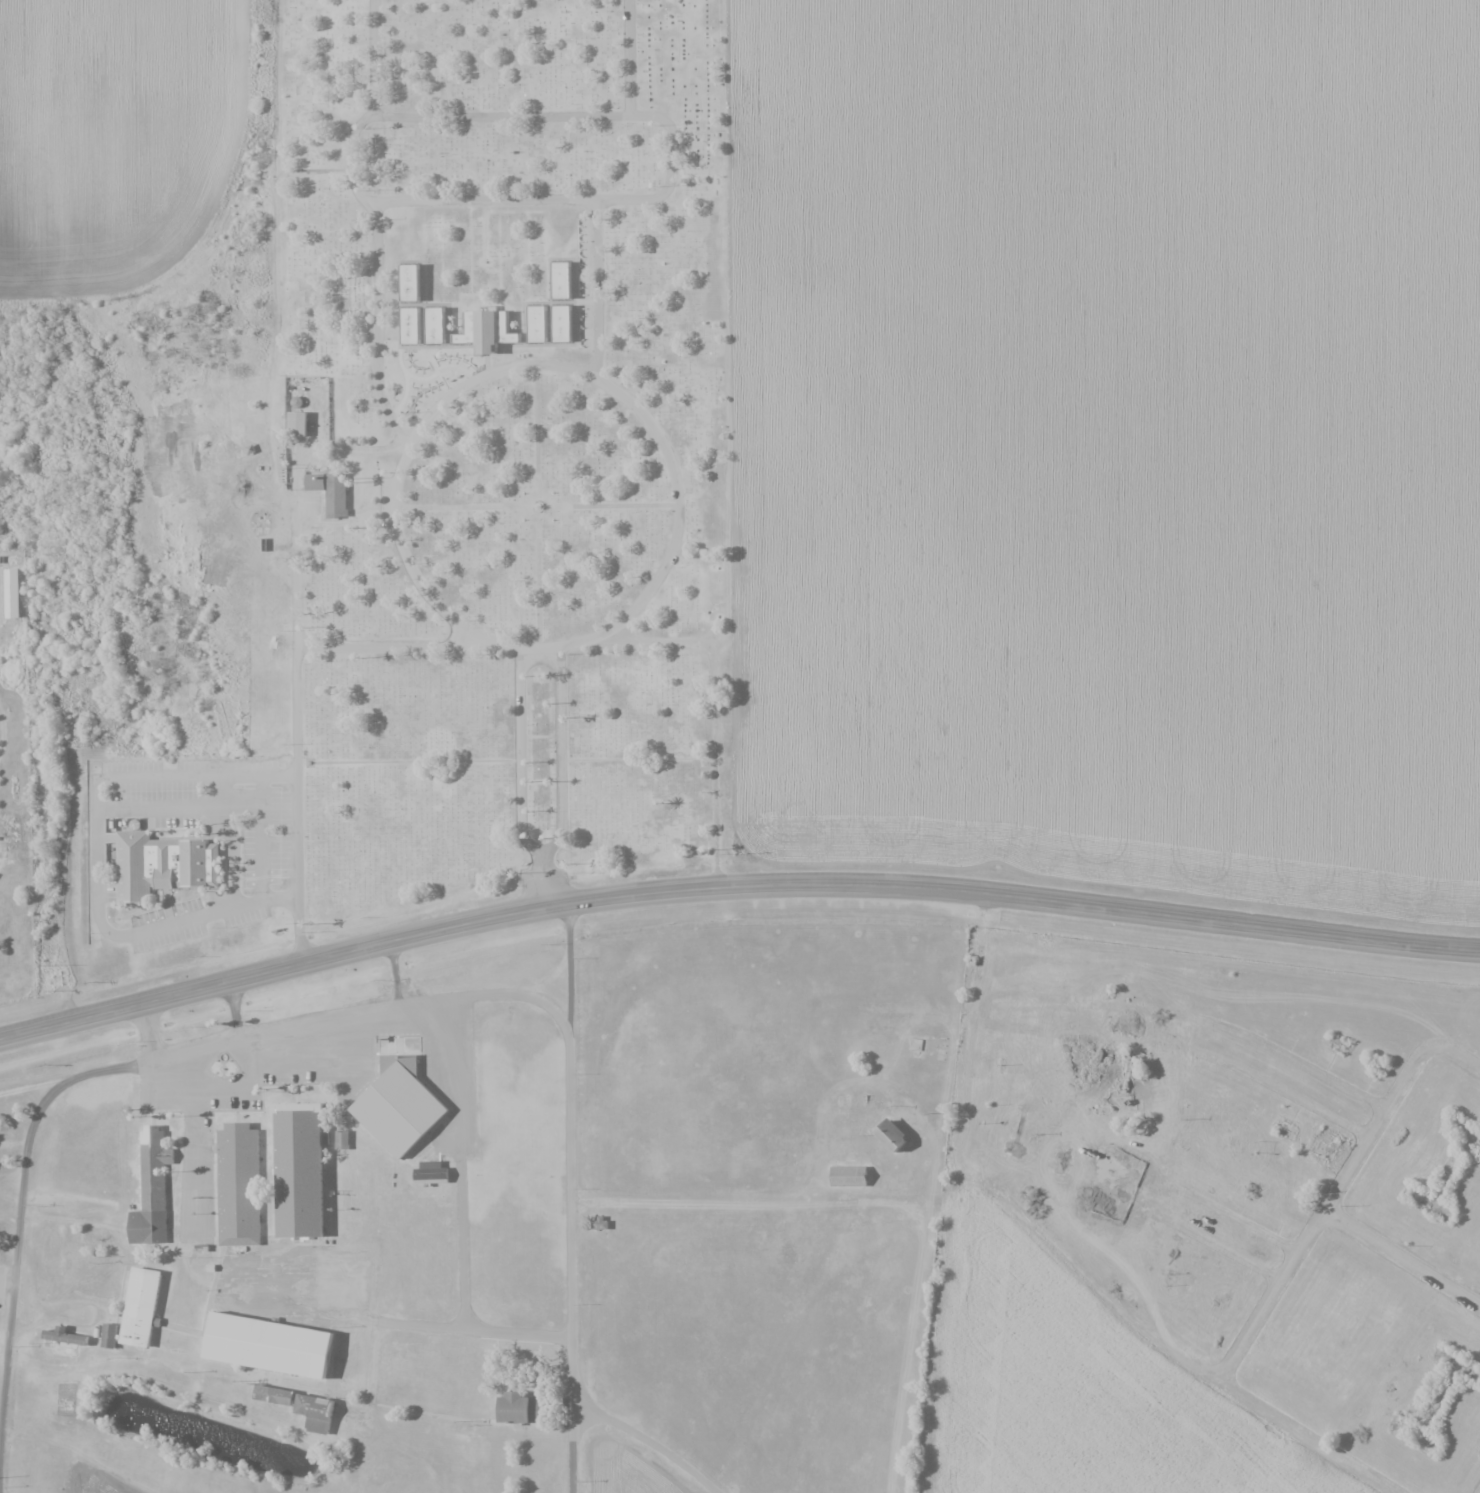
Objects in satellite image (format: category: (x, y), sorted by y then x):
road: (374, 58)
road: (562, 116)
road: (354, 160)
road: (672, 176)
road: (377, 276)
building: (559, 280)
building: (408, 283)
building: (535, 324)
building: (561, 324)
building: (408, 325)
building: (469, 330)
road: (492, 372)
building: (296, 424)
park: (476, 481)
building: (334, 497)
road: (678, 534)
road: (296, 572)
building: (20, 596)
road: (395, 645)
road: (542, 653)
road: (719, 693)
road: (522, 752)
road: (562, 777)
road: (300, 804)
building: (17, 836)
road: (265, 837)
road: (97, 855)
building: (165, 864)
road: (733, 885)
building: (1082, 970)
road: (571, 1053)
road: (126, 1061)
building: (1048, 1088)
road: (1360, 1095)
road: (1303, 1101)
building: (406, 1112)
building: (889, 1136)
building: (846, 1176)
road: (1348, 1176)
building: (306, 1179)
building: (240, 1184)
building: (153, 1188)
road: (1024, 1221)
road: (1236, 1253)
building: (54, 1254)
road: (1403, 1259)
building: (147, 1309)
building: (110, 1335)
building: (60, 1346)
road: (575, 1347)
building: (277, 1349)
building: (276, 1394)
building: (522, 1408)
building: (317, 1412)
road: (594, 1412)
road: (1302, 1438)
road: (667, 1453)

